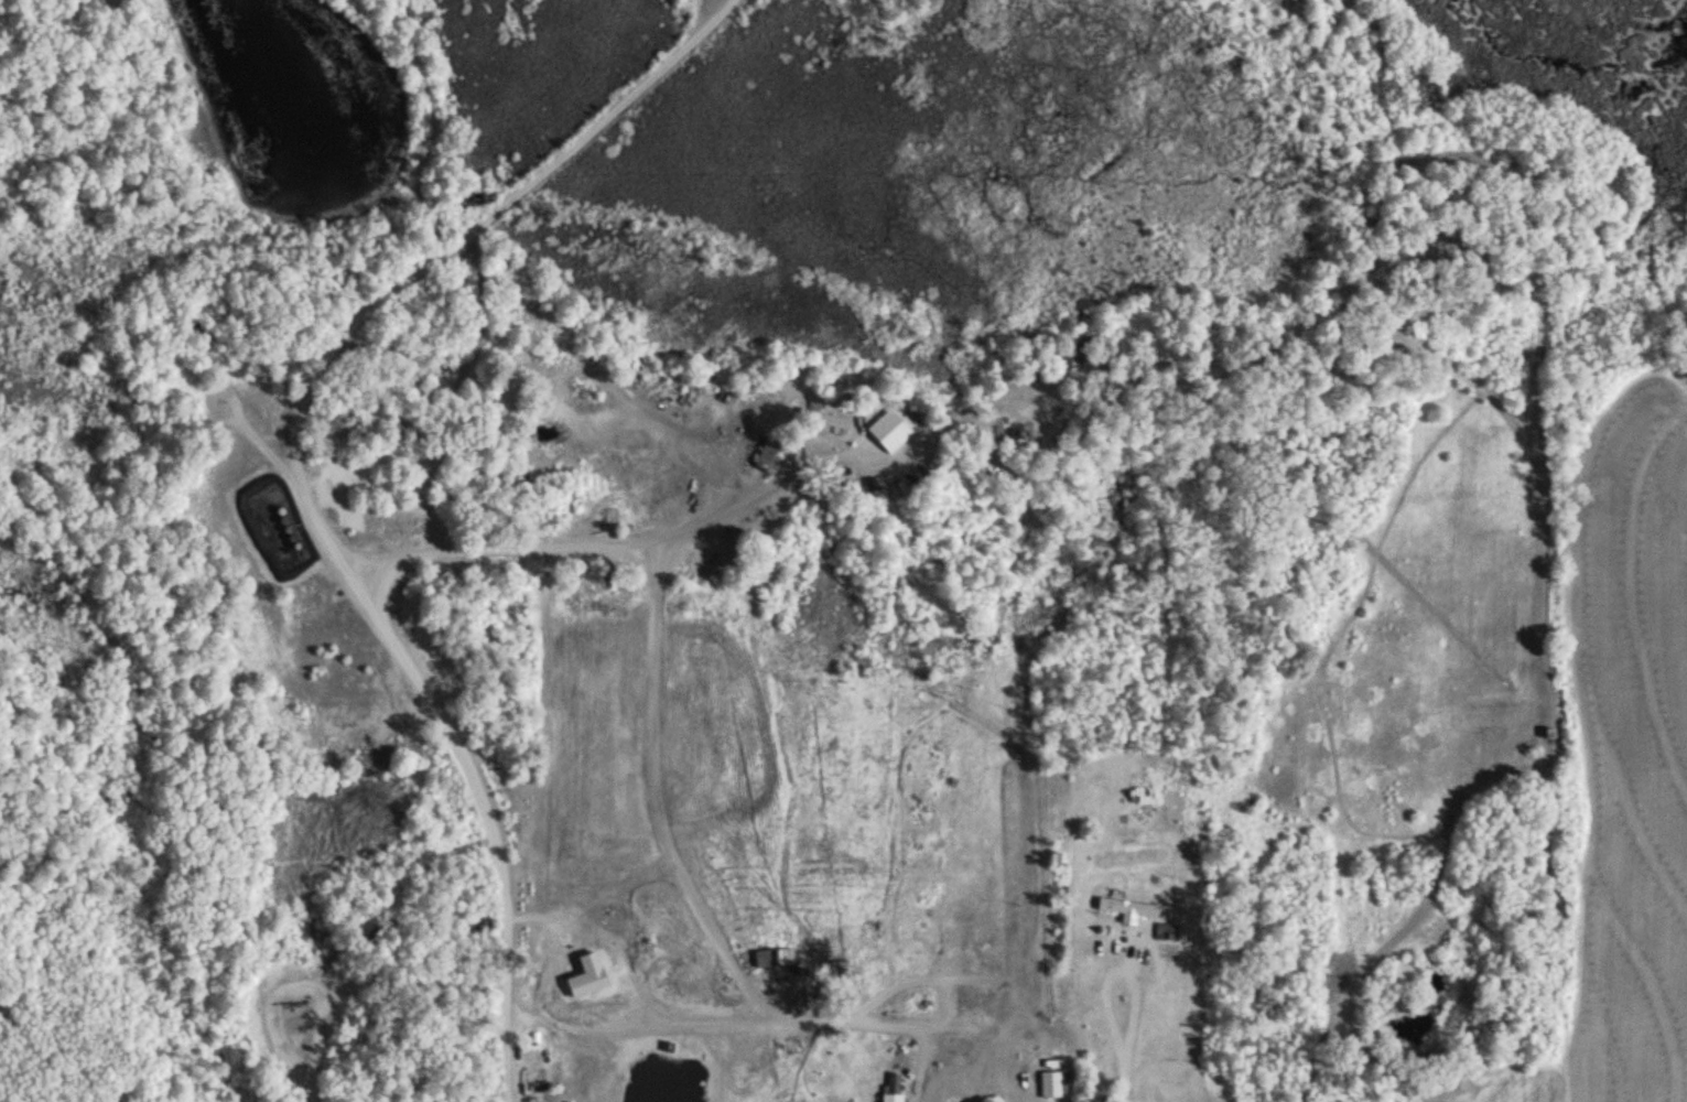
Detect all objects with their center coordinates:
building: (826, 420)
road: (311, 440)
building: (775, 453)
building: (1144, 796)
building: (1131, 909)
building: (1169, 932)
road: (1118, 961)
building: (545, 966)
petroleum well: (304, 1001)
road: (759, 1018)
road: (1120, 1082)
building: (1053, 1084)

